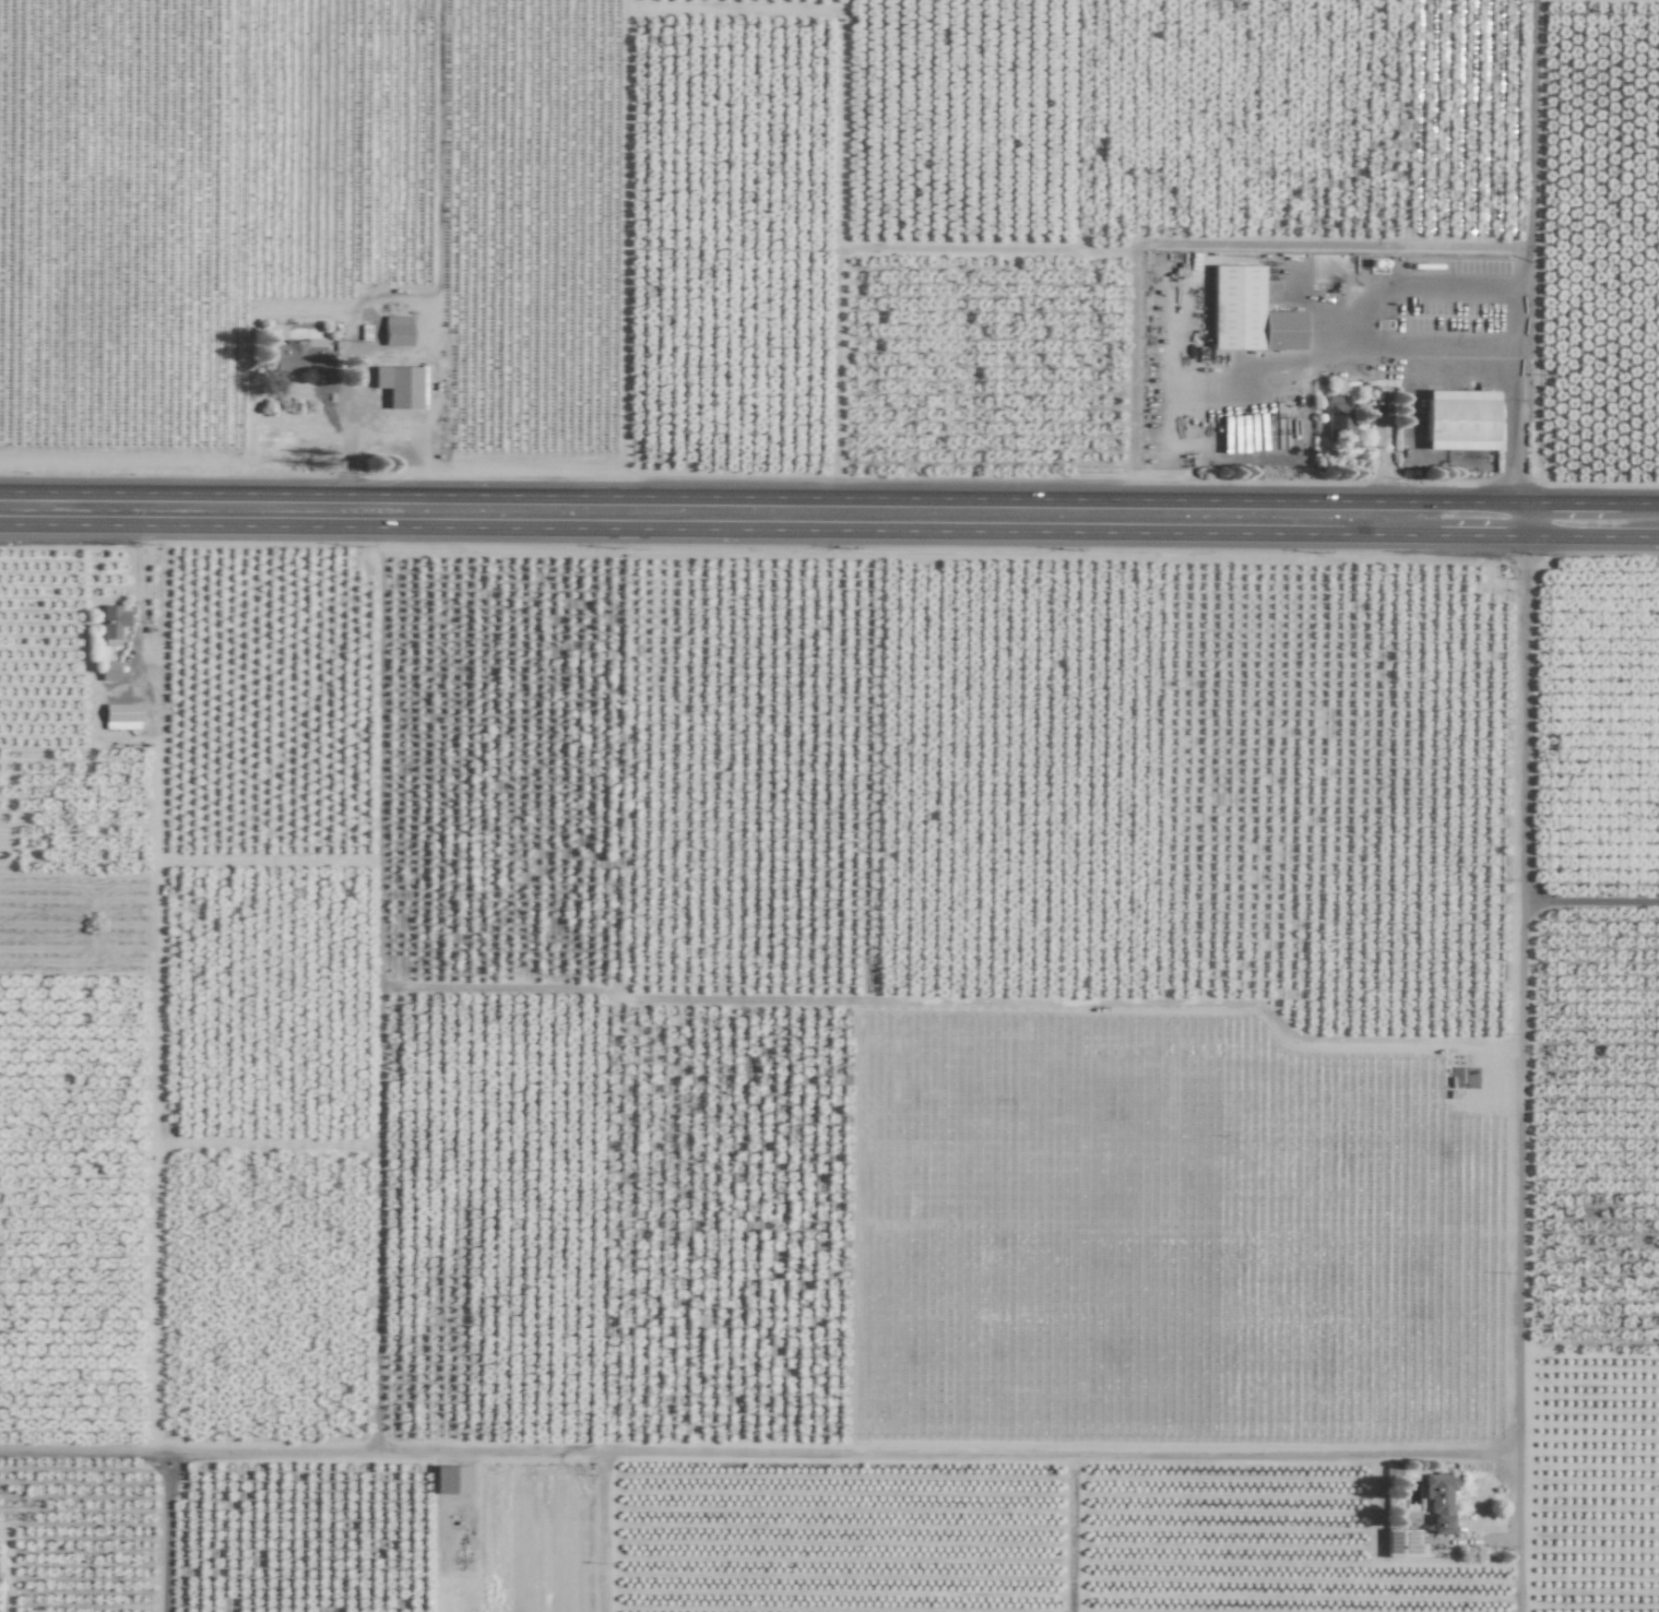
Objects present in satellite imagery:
road: (1527, 251)
building: (1247, 315)
road: (1355, 325)
building: (395, 332)
building: (299, 356)
building: (400, 387)
road: (349, 406)
building: (1335, 415)
building: (1458, 420)
road: (829, 498)
road: (829, 531)
road: (139, 596)
building: (112, 621)
building: (108, 672)
building: (120, 716)
road: (1589, 901)
road: (1519, 1007)
road: (756, 1453)
building: (451, 1480)
building: (1438, 1501)
road: (164, 1531)

